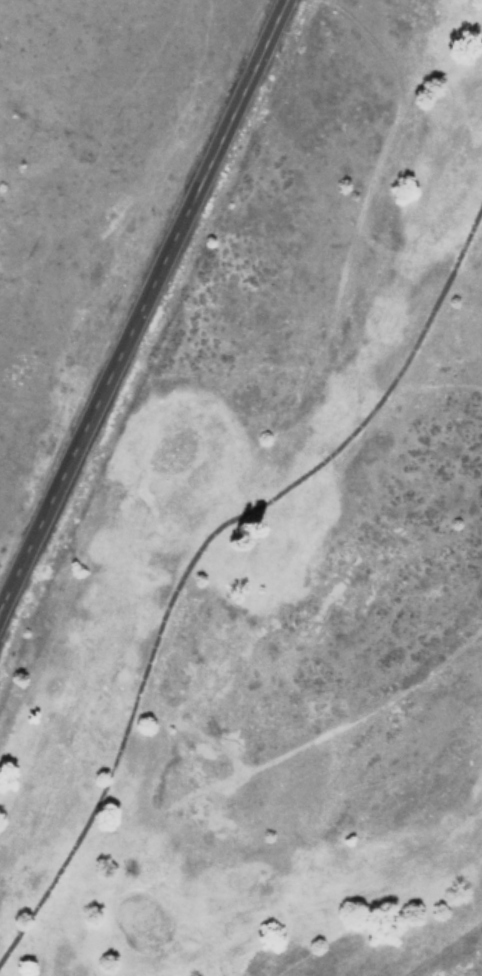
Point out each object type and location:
road: (142, 300)
park: (282, 573)

